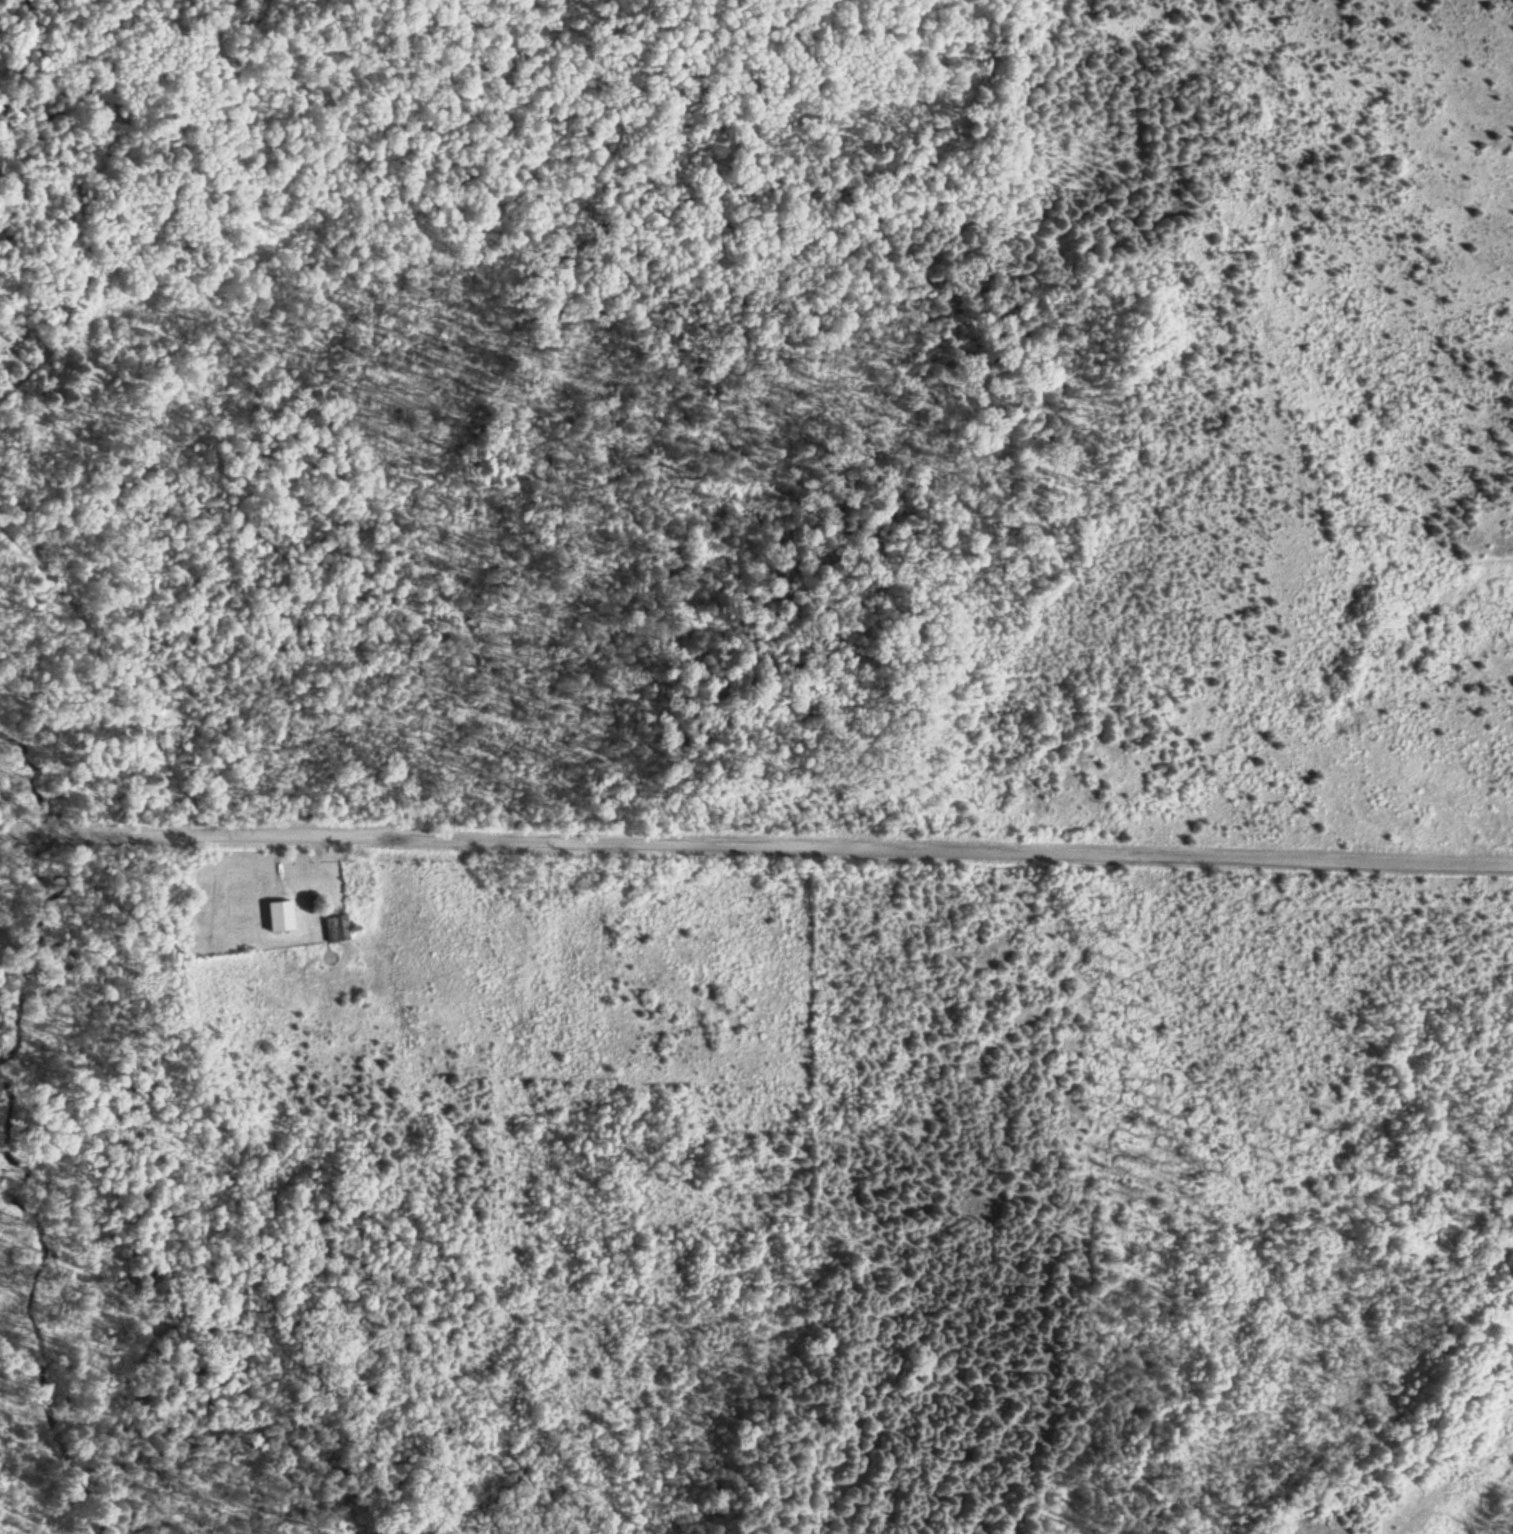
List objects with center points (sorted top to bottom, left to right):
road: (76, 209)
road: (117, 671)
road: (756, 849)
building: (277, 919)
building: (334, 932)

